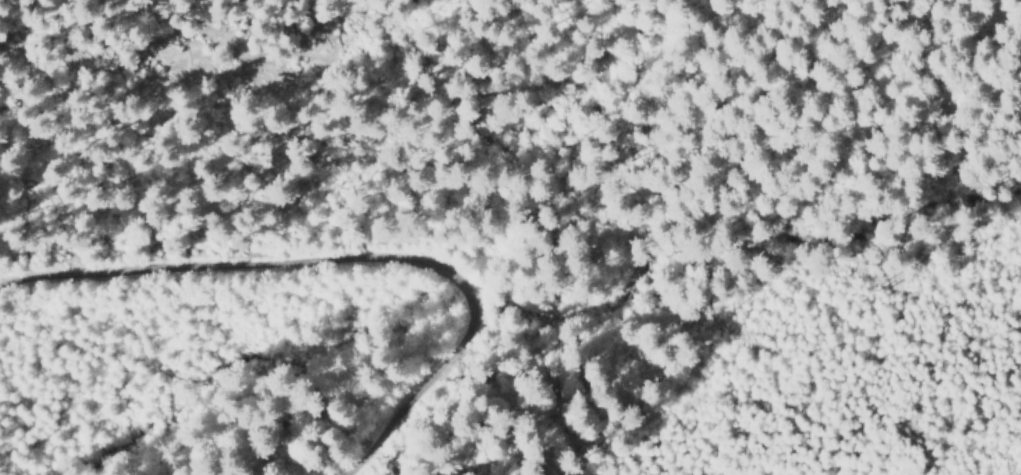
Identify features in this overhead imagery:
road: (347, 256)

